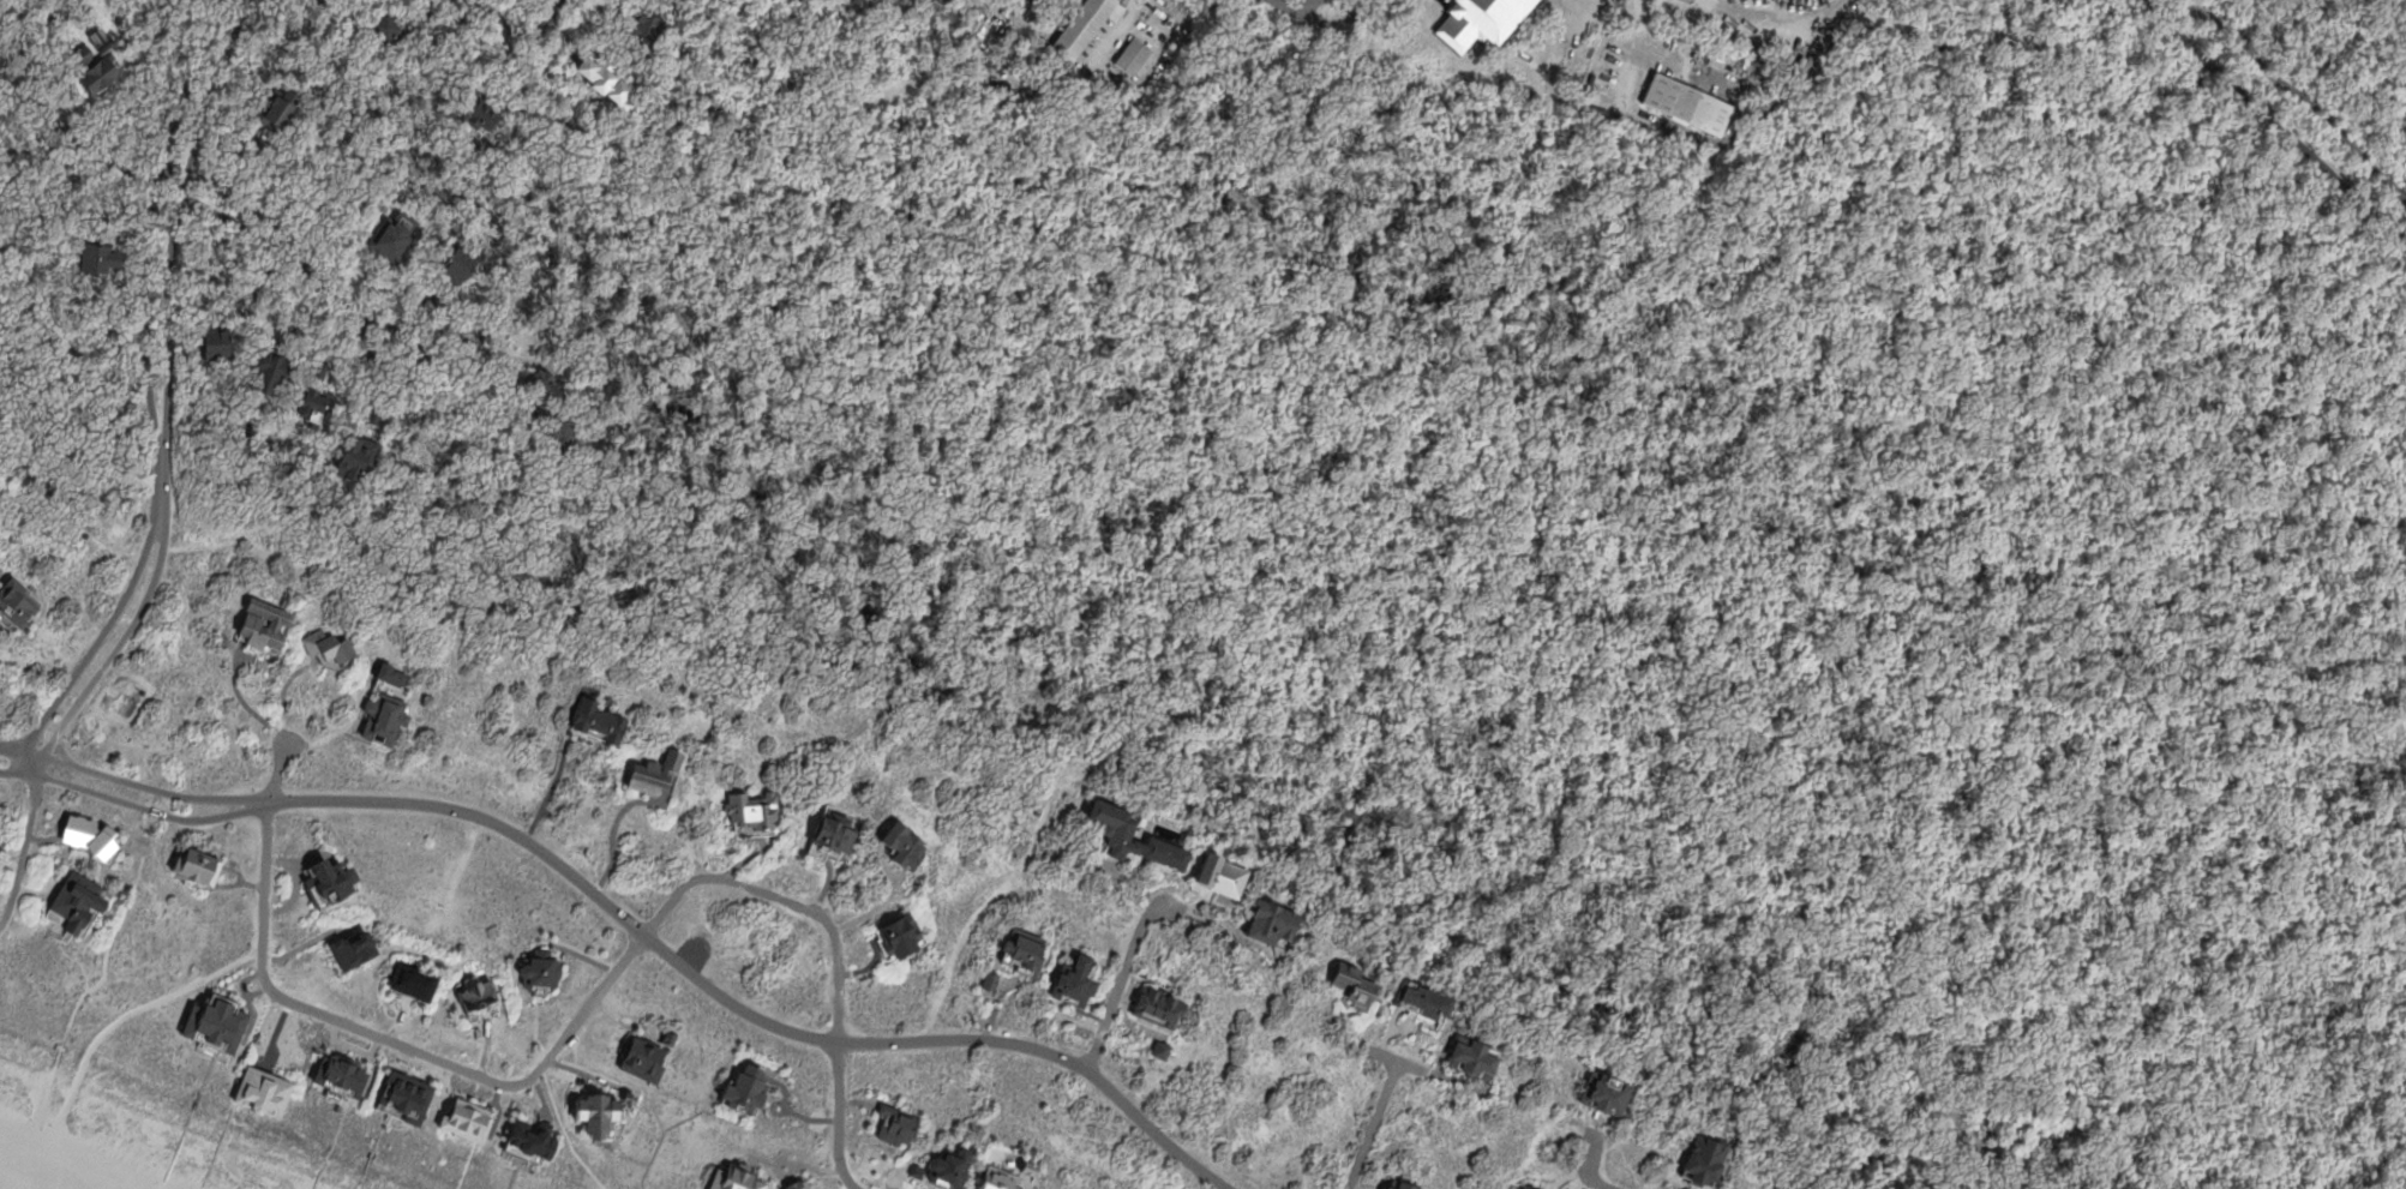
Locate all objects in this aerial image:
building: (2249, 0)
building: (990, 2)
building: (427, 11)
road: (1777, 16)
road: (503, 22)
building: (653, 24)
building: (1087, 25)
building: (395, 26)
building: (1576, 31)
building: (1562, 35)
road: (1660, 46)
road: (2339, 50)
building: (1135, 54)
building: (607, 77)
building: (1, 79)
road: (2300, 90)
building: (1691, 102)
building: (284, 109)
building: (484, 114)
road: (2272, 124)
road: (64, 126)
road: (1675, 127)
road: (36, 158)
road: (154, 218)
road: (175, 218)
building: (102, 258)
building: (462, 263)
road: (296, 278)
building: (272, 336)
building: (217, 341)
building: (275, 373)
building: (545, 392)
building: (377, 412)
building: (564, 433)
building: (360, 458)
road: (161, 487)
road: (1662, 535)
building: (18, 601)
building: (265, 621)
road: (97, 643)
building: (329, 645)
road: (116, 650)
building: (398, 674)
building: (613, 698)
building: (386, 717)
building: (599, 721)
road: (36, 765)
building: (656, 775)
road: (133, 782)
road: (136, 805)
building: (757, 811)
building: (833, 830)
building: (0, 834)
building: (92, 835)
building: (1138, 836)
building: (0, 837)
building: (907, 845)
road: (25, 854)
building: (199, 867)
building: (1229, 876)
building: (331, 879)
road: (785, 899)
building: (77, 906)
building: (1274, 923)
road: (119, 924)
building: (901, 936)
building: (1026, 948)
building: (358, 949)
building: (542, 969)
road: (1120, 979)
building: (992, 980)
building: (415, 981)
building: (1078, 981)
building: (1360, 986)
building: (481, 993)
building: (1429, 1002)
building: (1160, 1004)
road: (152, 1005)
road: (744, 1009)
building: (218, 1023)
road: (370, 1033)
building: (672, 1038)
building: (1162, 1047)
building: (1600, 1056)
building: (1477, 1058)
road: (1399, 1061)
building: (646, 1062)
building: (344, 1074)
building: (749, 1091)
building: (268, 1092)
building: (1610, 1093)
building: (408, 1095)
building: (636, 1099)
building: (600, 1113)
road: (840, 1117)
building: (469, 1121)
road: (1374, 1124)
building: (900, 1125)
building: (536, 1140)
building: (1709, 1159)
building: (1034, 1167)
road: (1591, 1167)
building: (947, 1170)
building: (739, 1178)
building: (1003, 1179)
building: (1400, 1184)
building: (800, 1185)
building: (1529, 1187)

